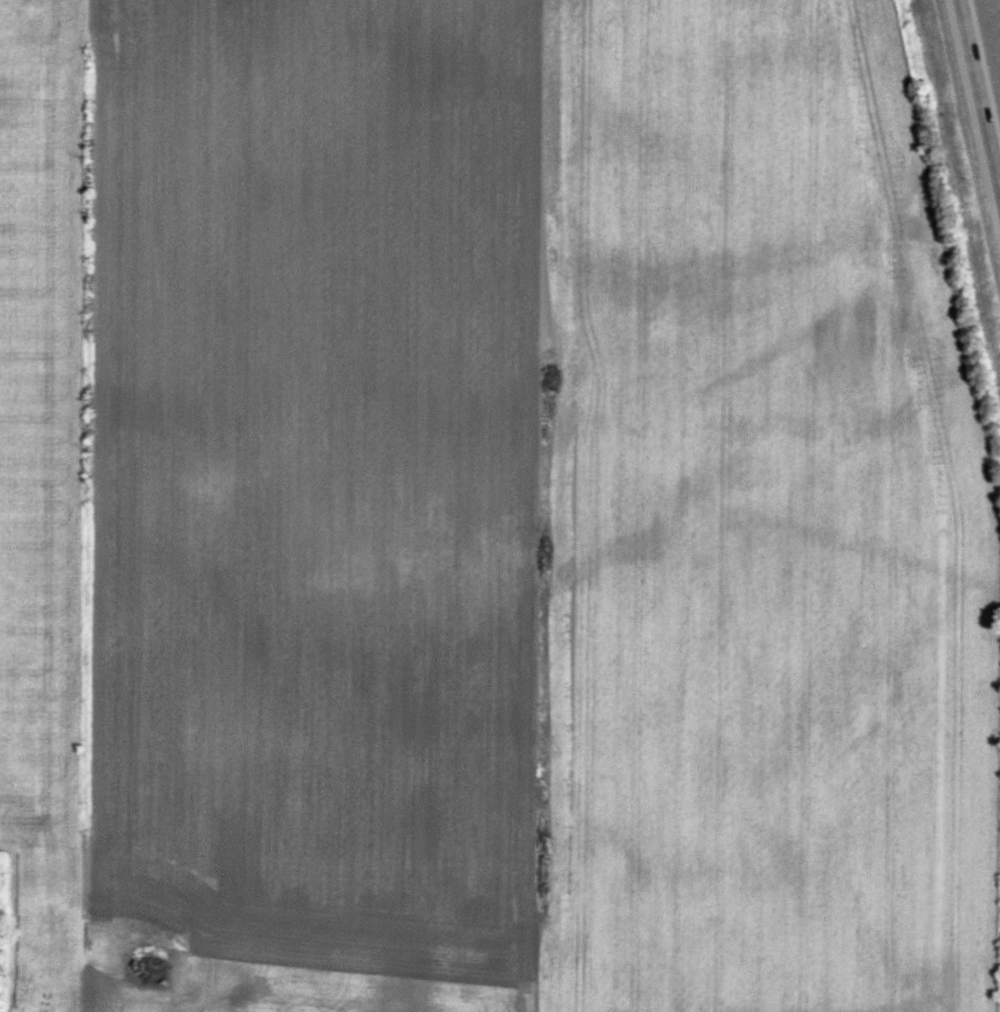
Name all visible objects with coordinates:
road: (979, 95)

